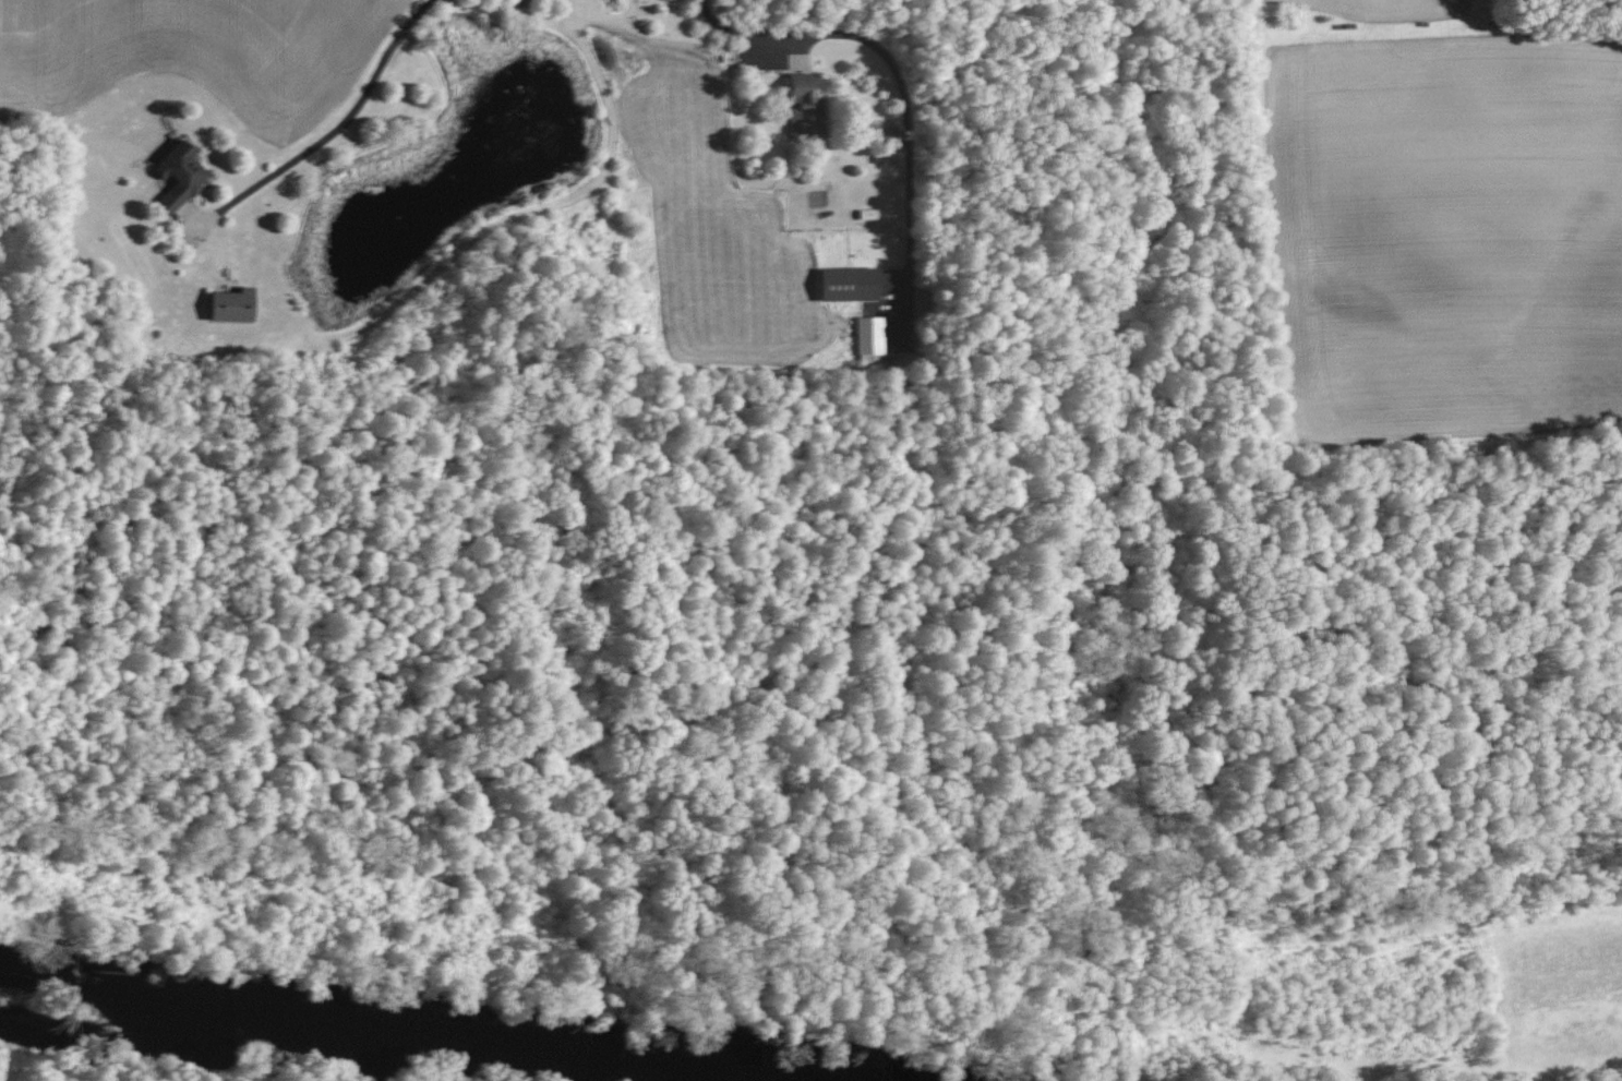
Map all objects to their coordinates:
road: (901, 64)
building: (798, 108)
road: (355, 128)
building: (173, 178)
building: (841, 285)
building: (225, 307)
building: (866, 336)
river: (297, 1044)

